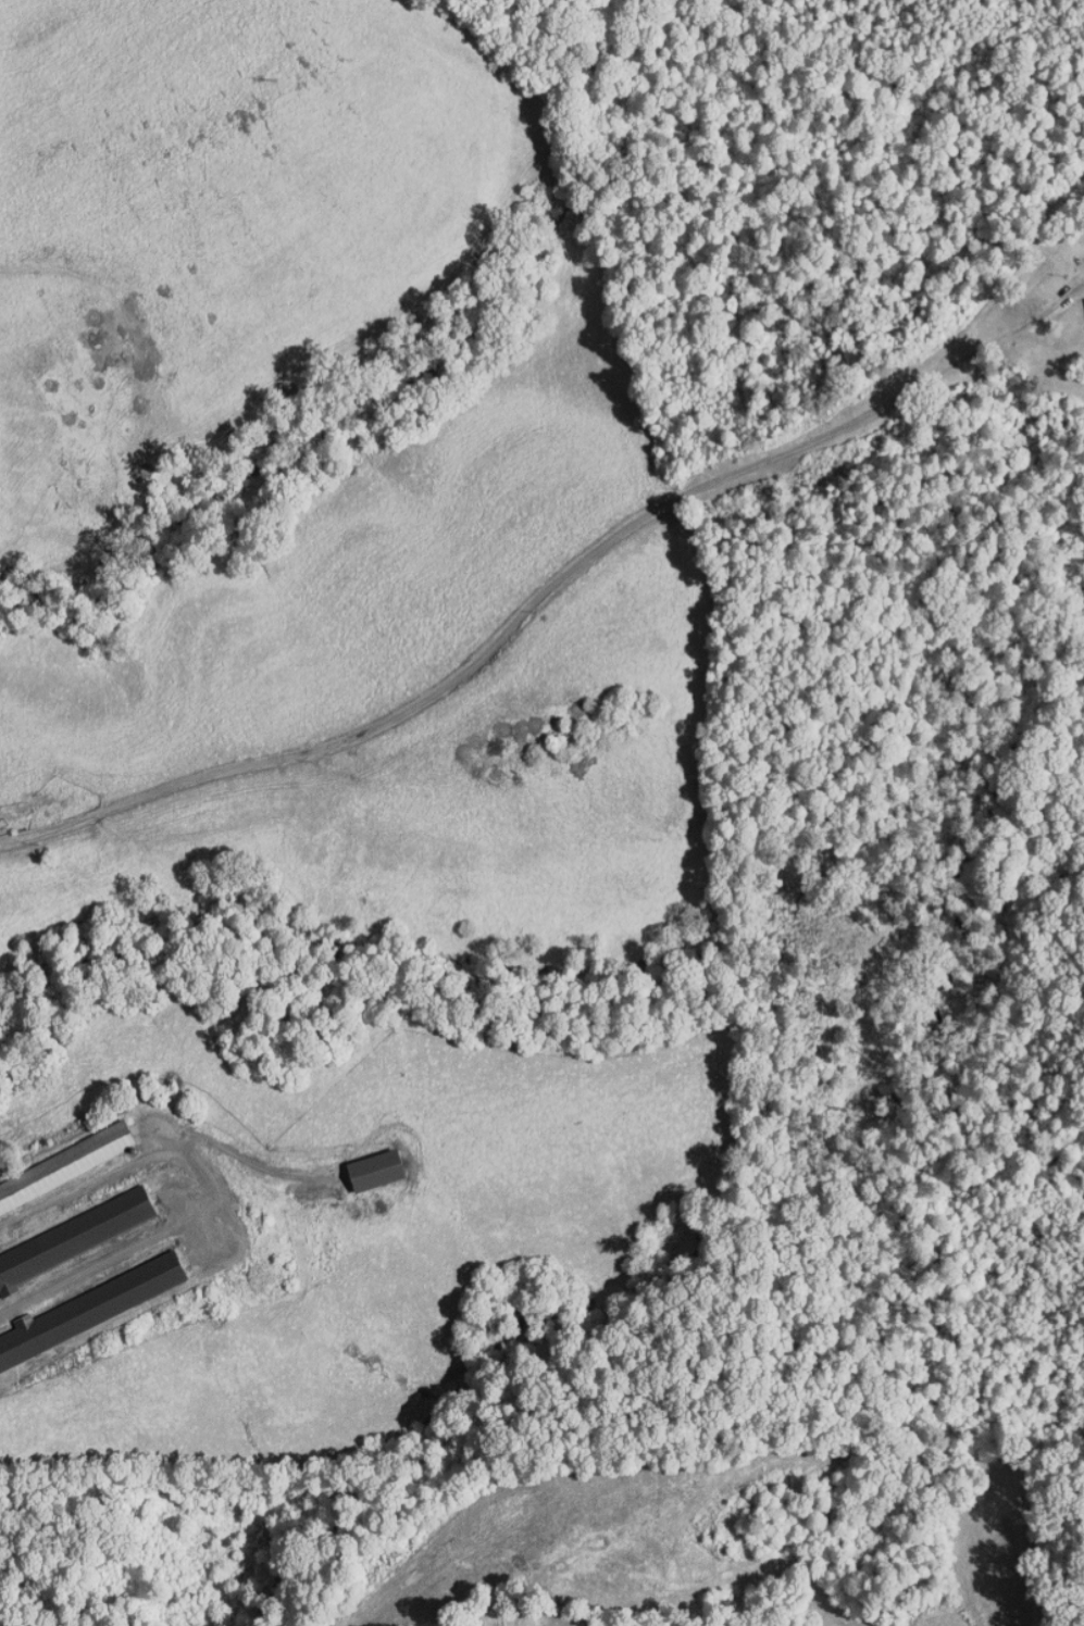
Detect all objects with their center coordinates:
building: (1080, 307)
road: (970, 355)
road: (451, 681)
building: (359, 1163)
building: (68, 1228)
building: (1, 1280)
building: (84, 1300)

